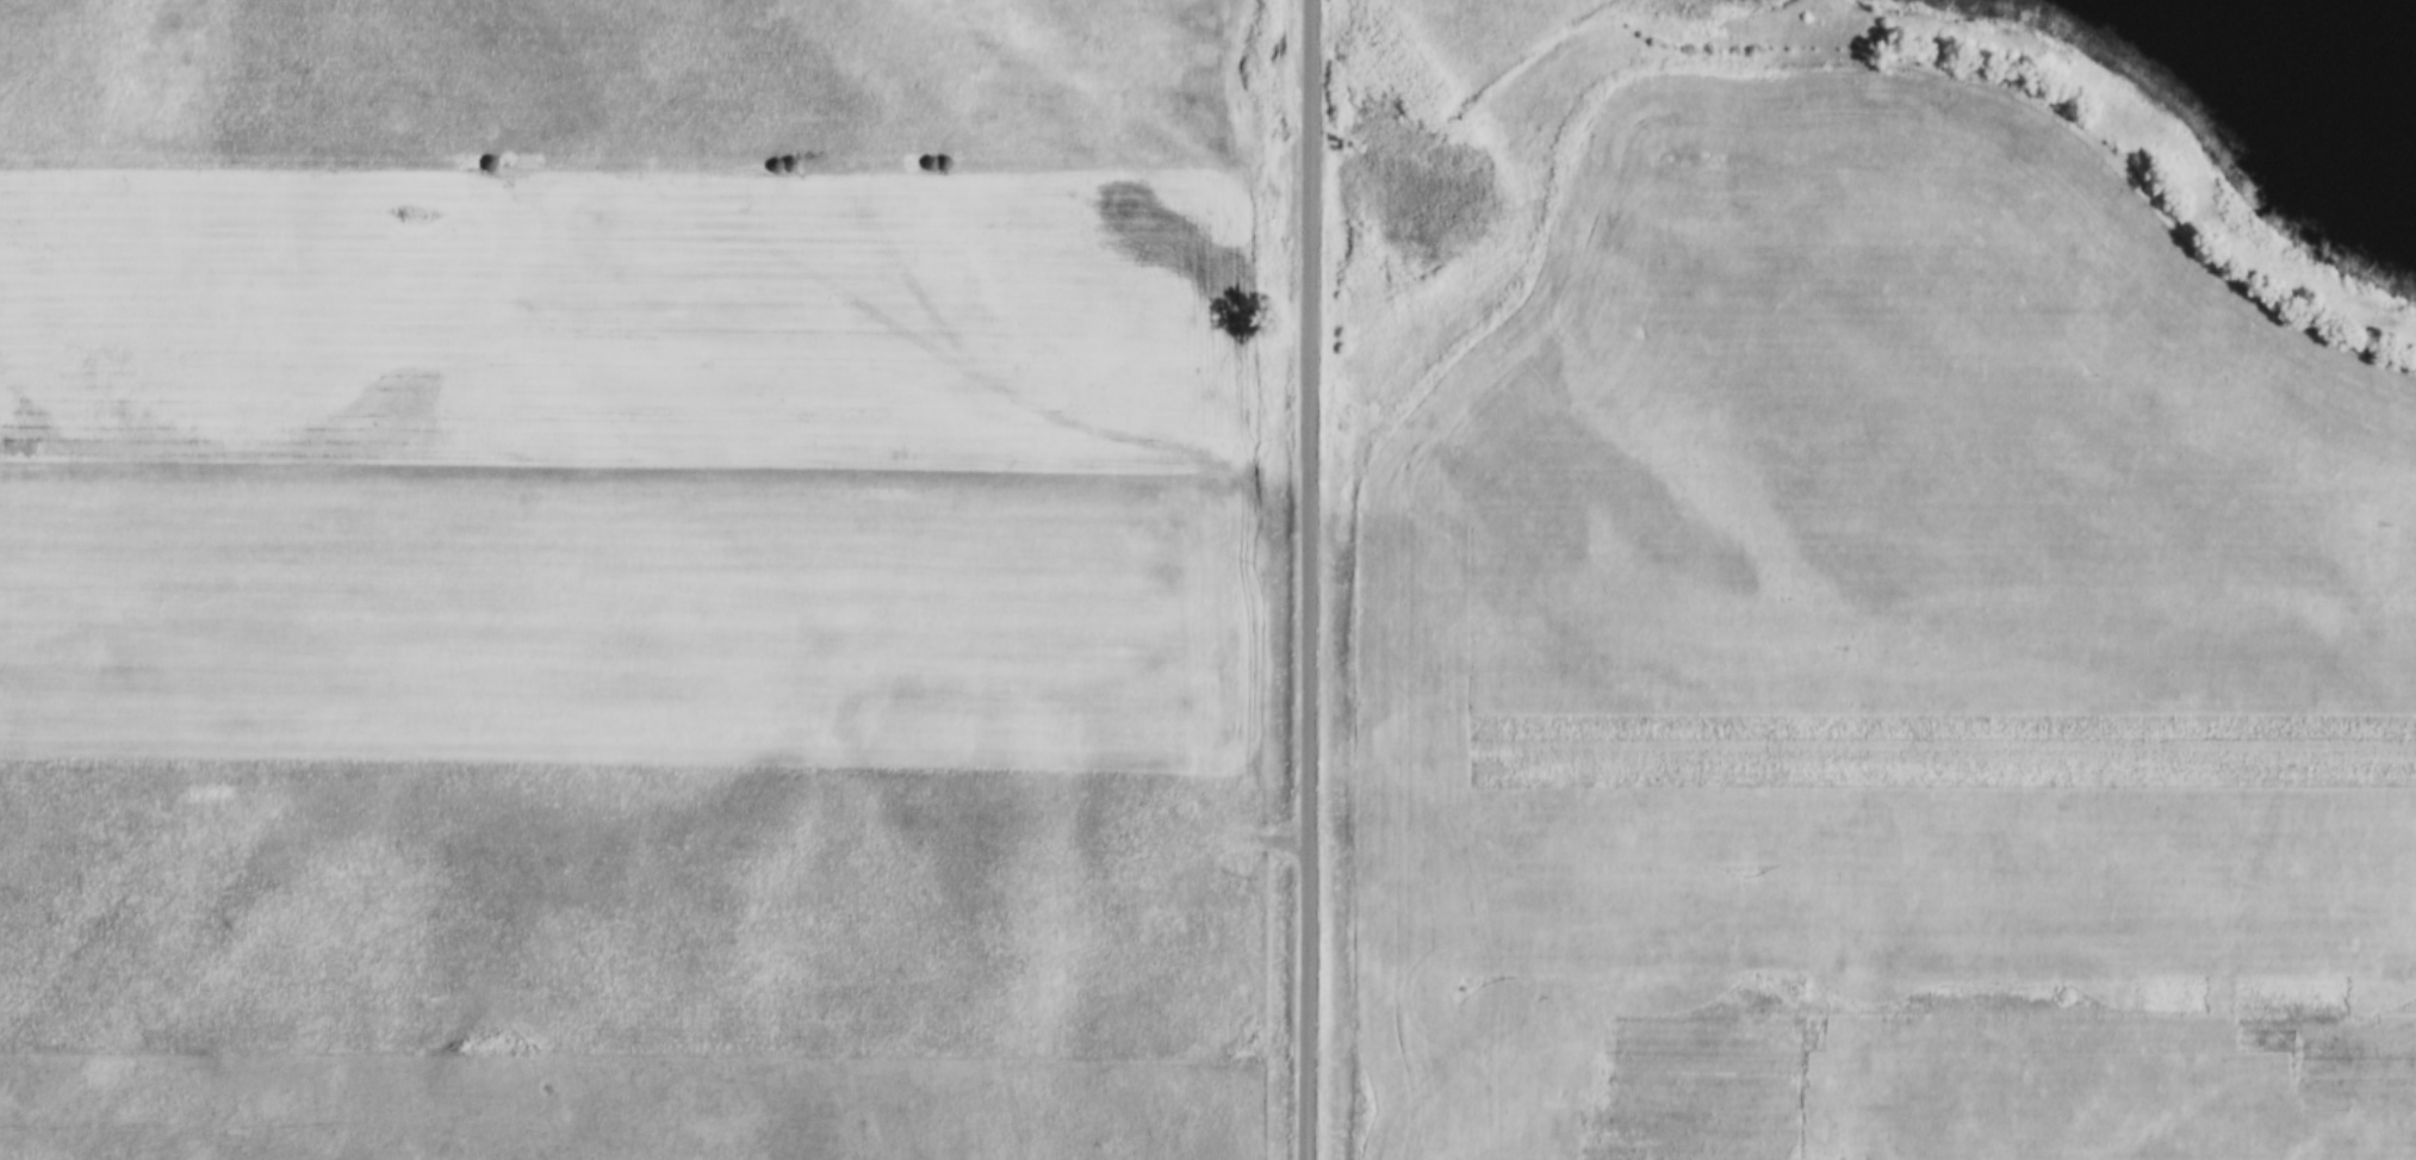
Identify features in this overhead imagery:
road: (1306, 579)
road: (1181, 963)

